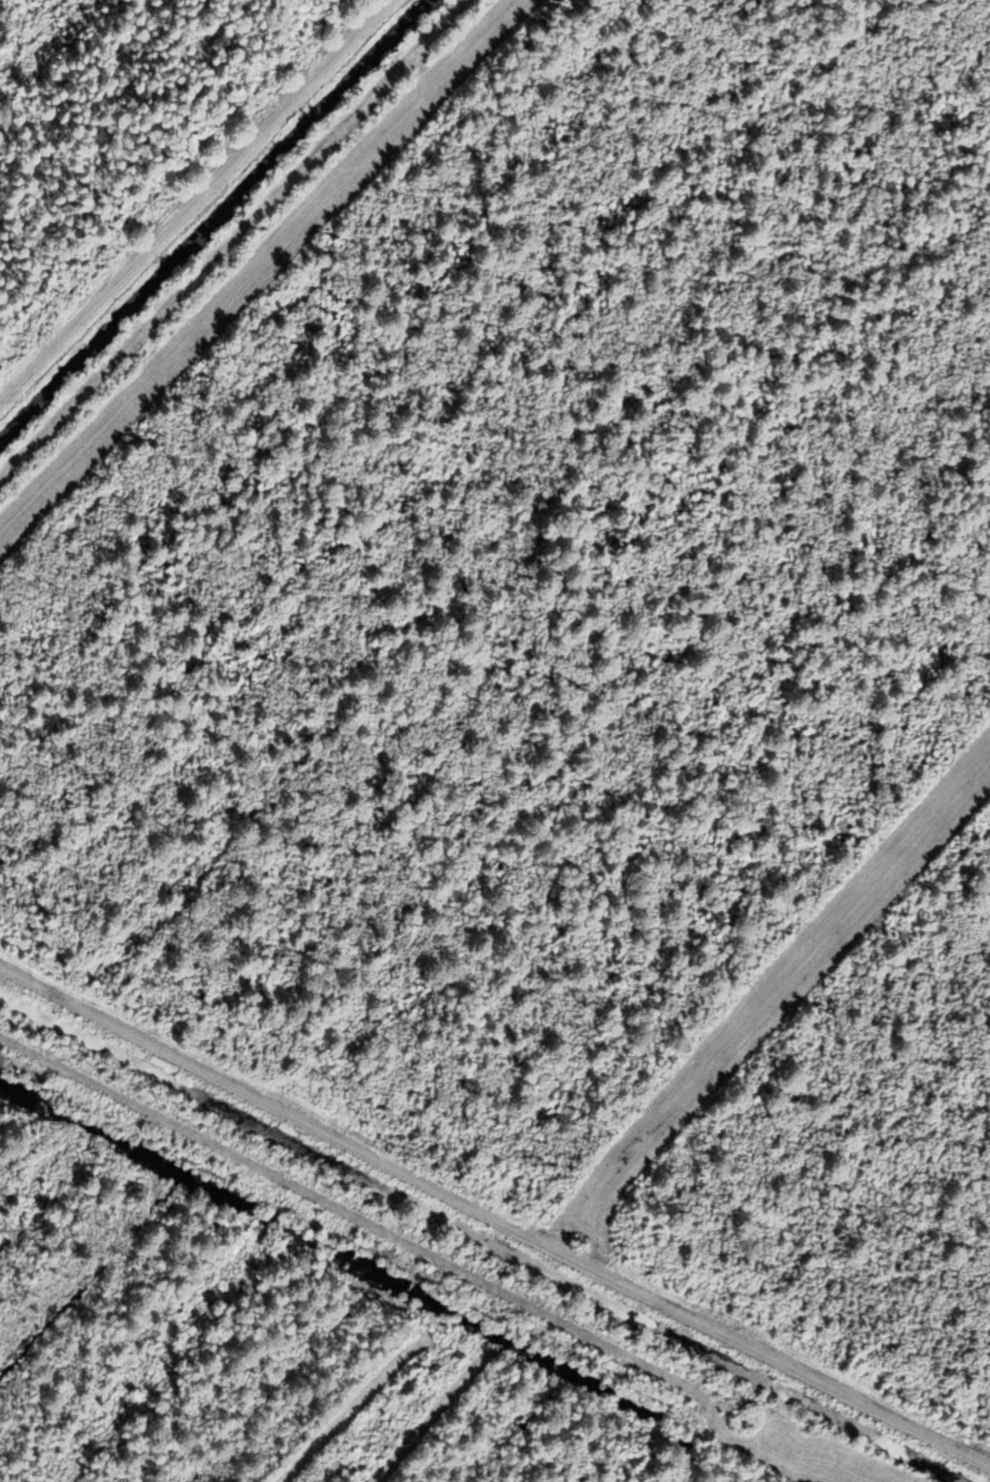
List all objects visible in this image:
road: (192, 198)
road: (495, 1213)

